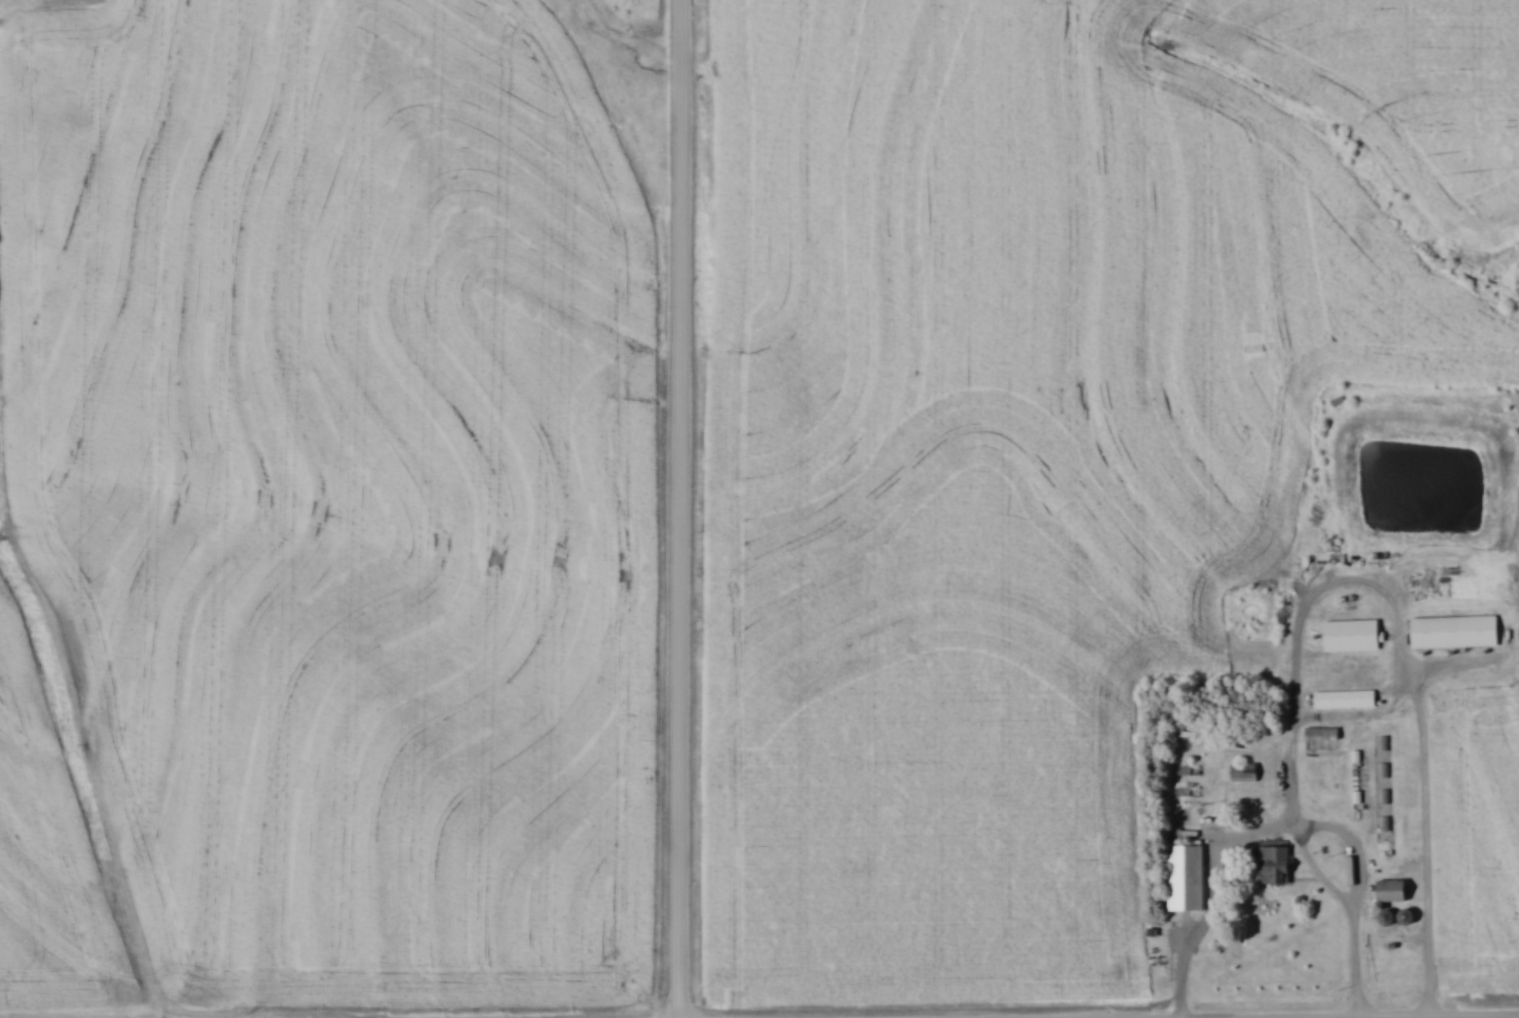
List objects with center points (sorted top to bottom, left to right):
road: (685, 508)
building: (1456, 631)
building: (1353, 635)
road: (1398, 643)
building: (1346, 699)
building: (1322, 737)
building: (1245, 772)
building: (1202, 813)
road: (1270, 830)
building: (1276, 866)
building: (1188, 878)
building: (1393, 890)
building: (1408, 916)

